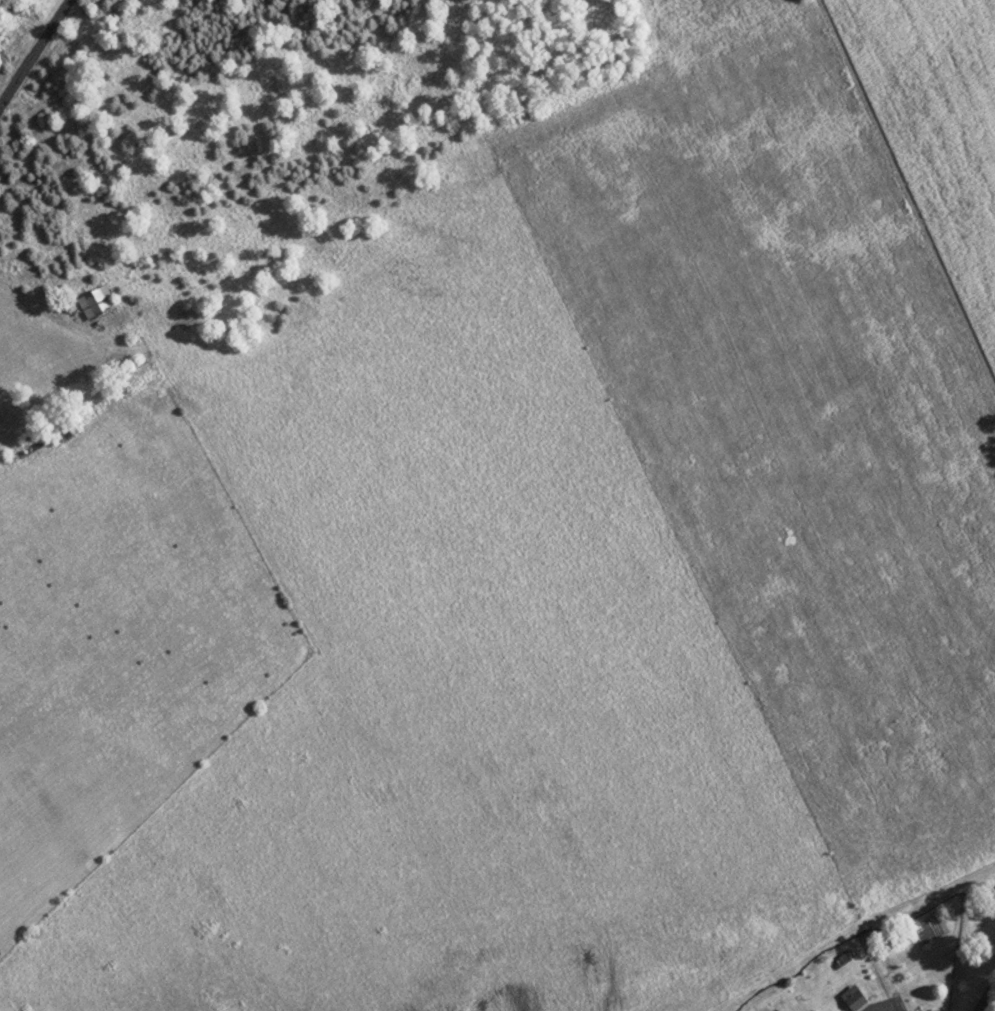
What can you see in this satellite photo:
road: (34, 53)
building: (101, 304)
building: (858, 999)
road: (988, 1003)

